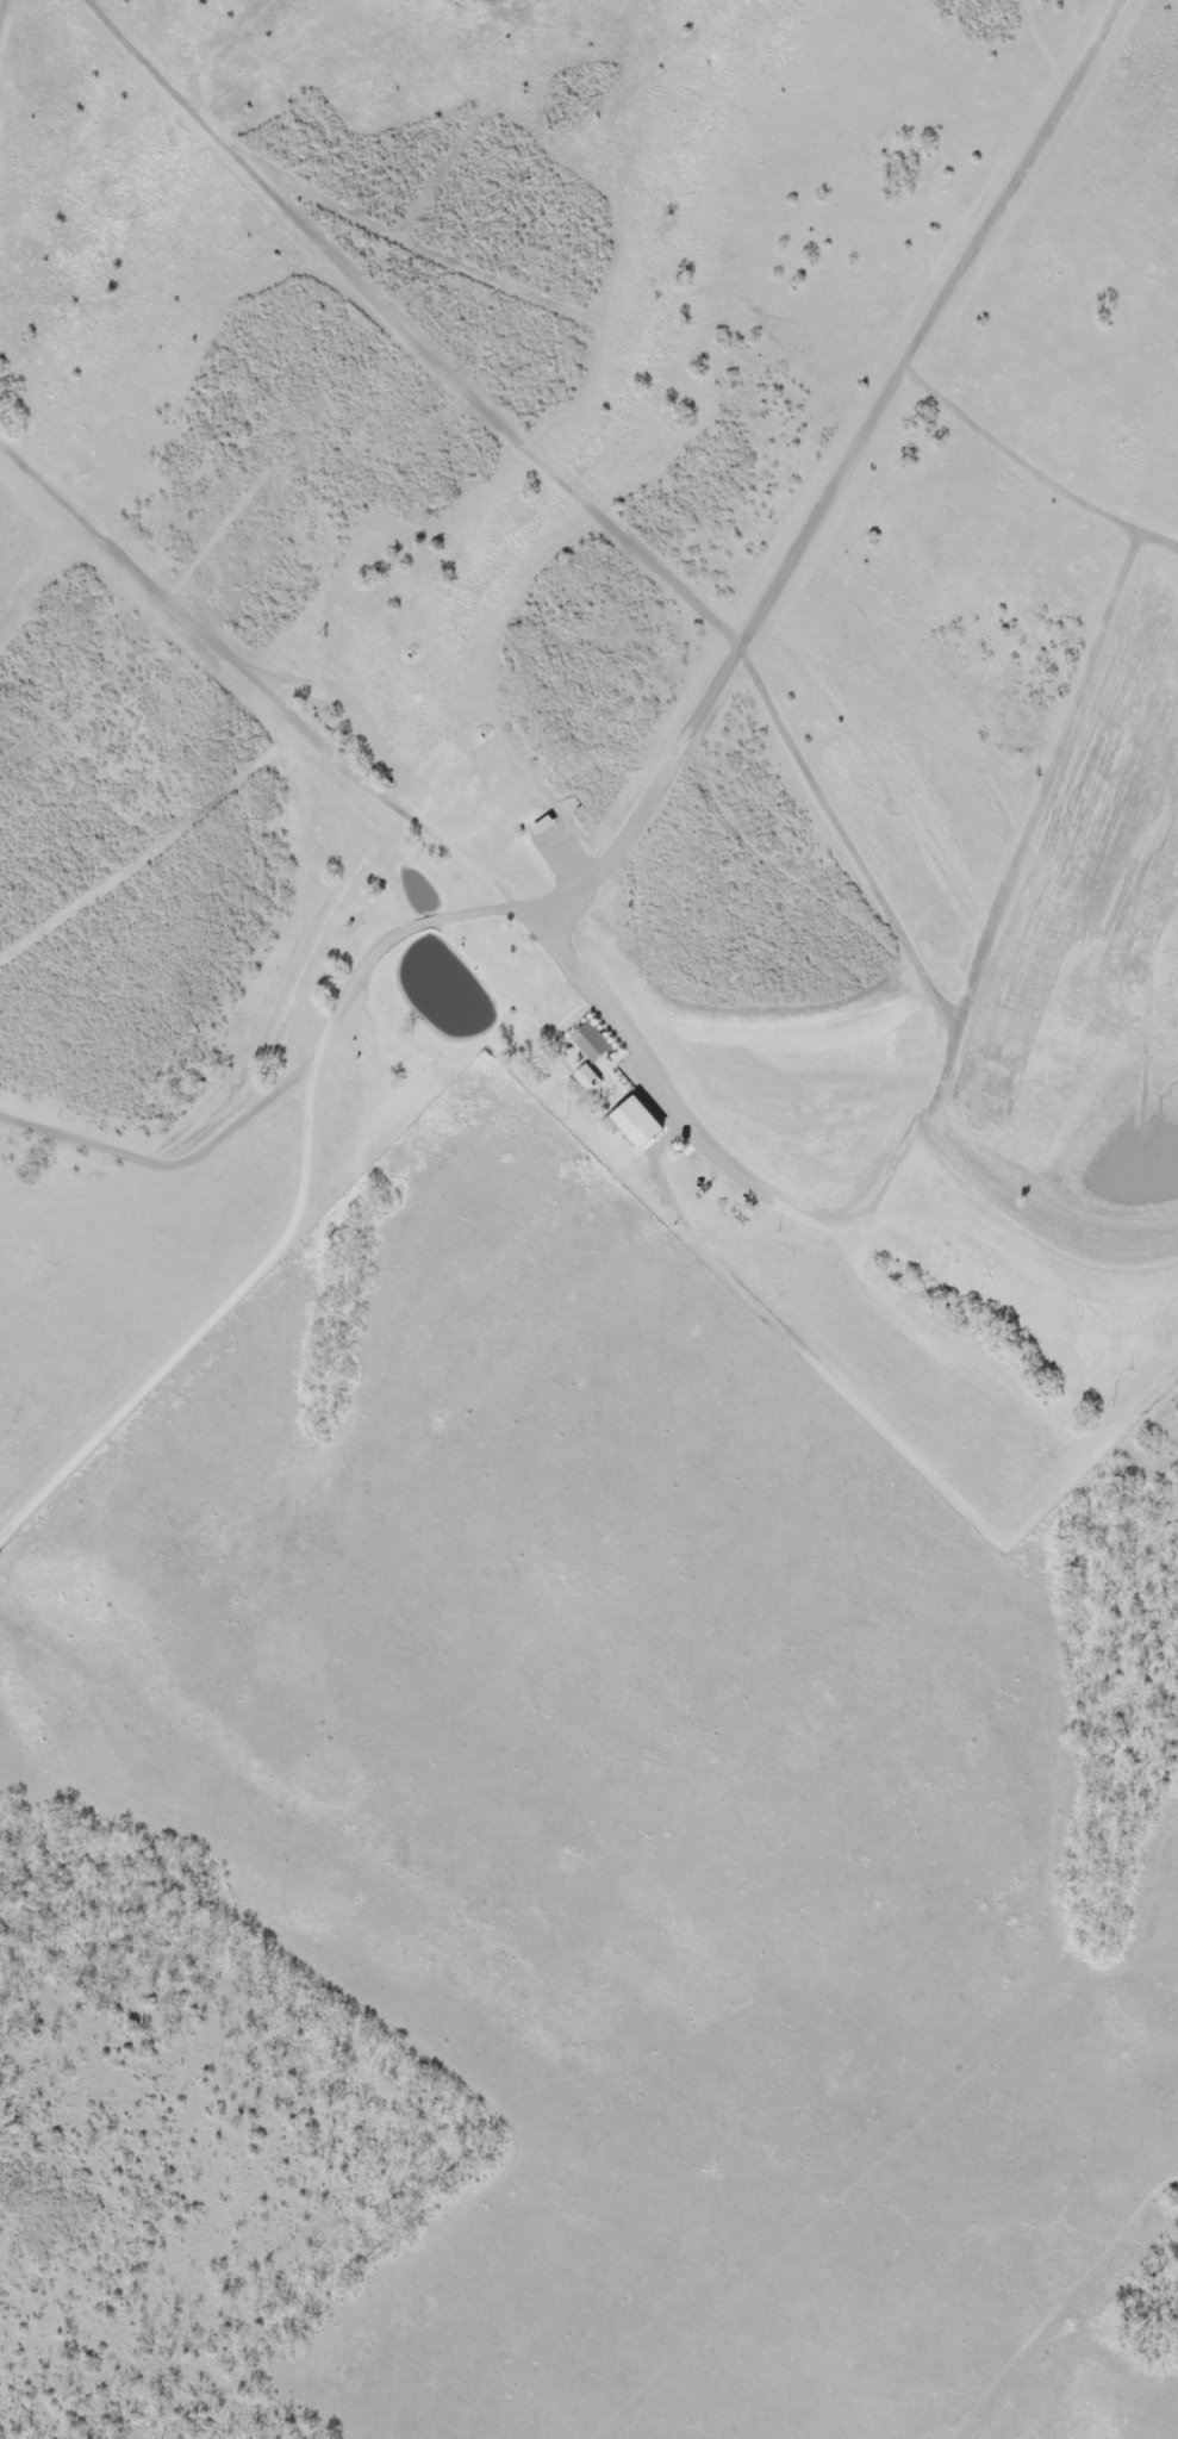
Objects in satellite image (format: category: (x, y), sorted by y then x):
road: (855, 469)
road: (556, 927)
building: (591, 1045)

